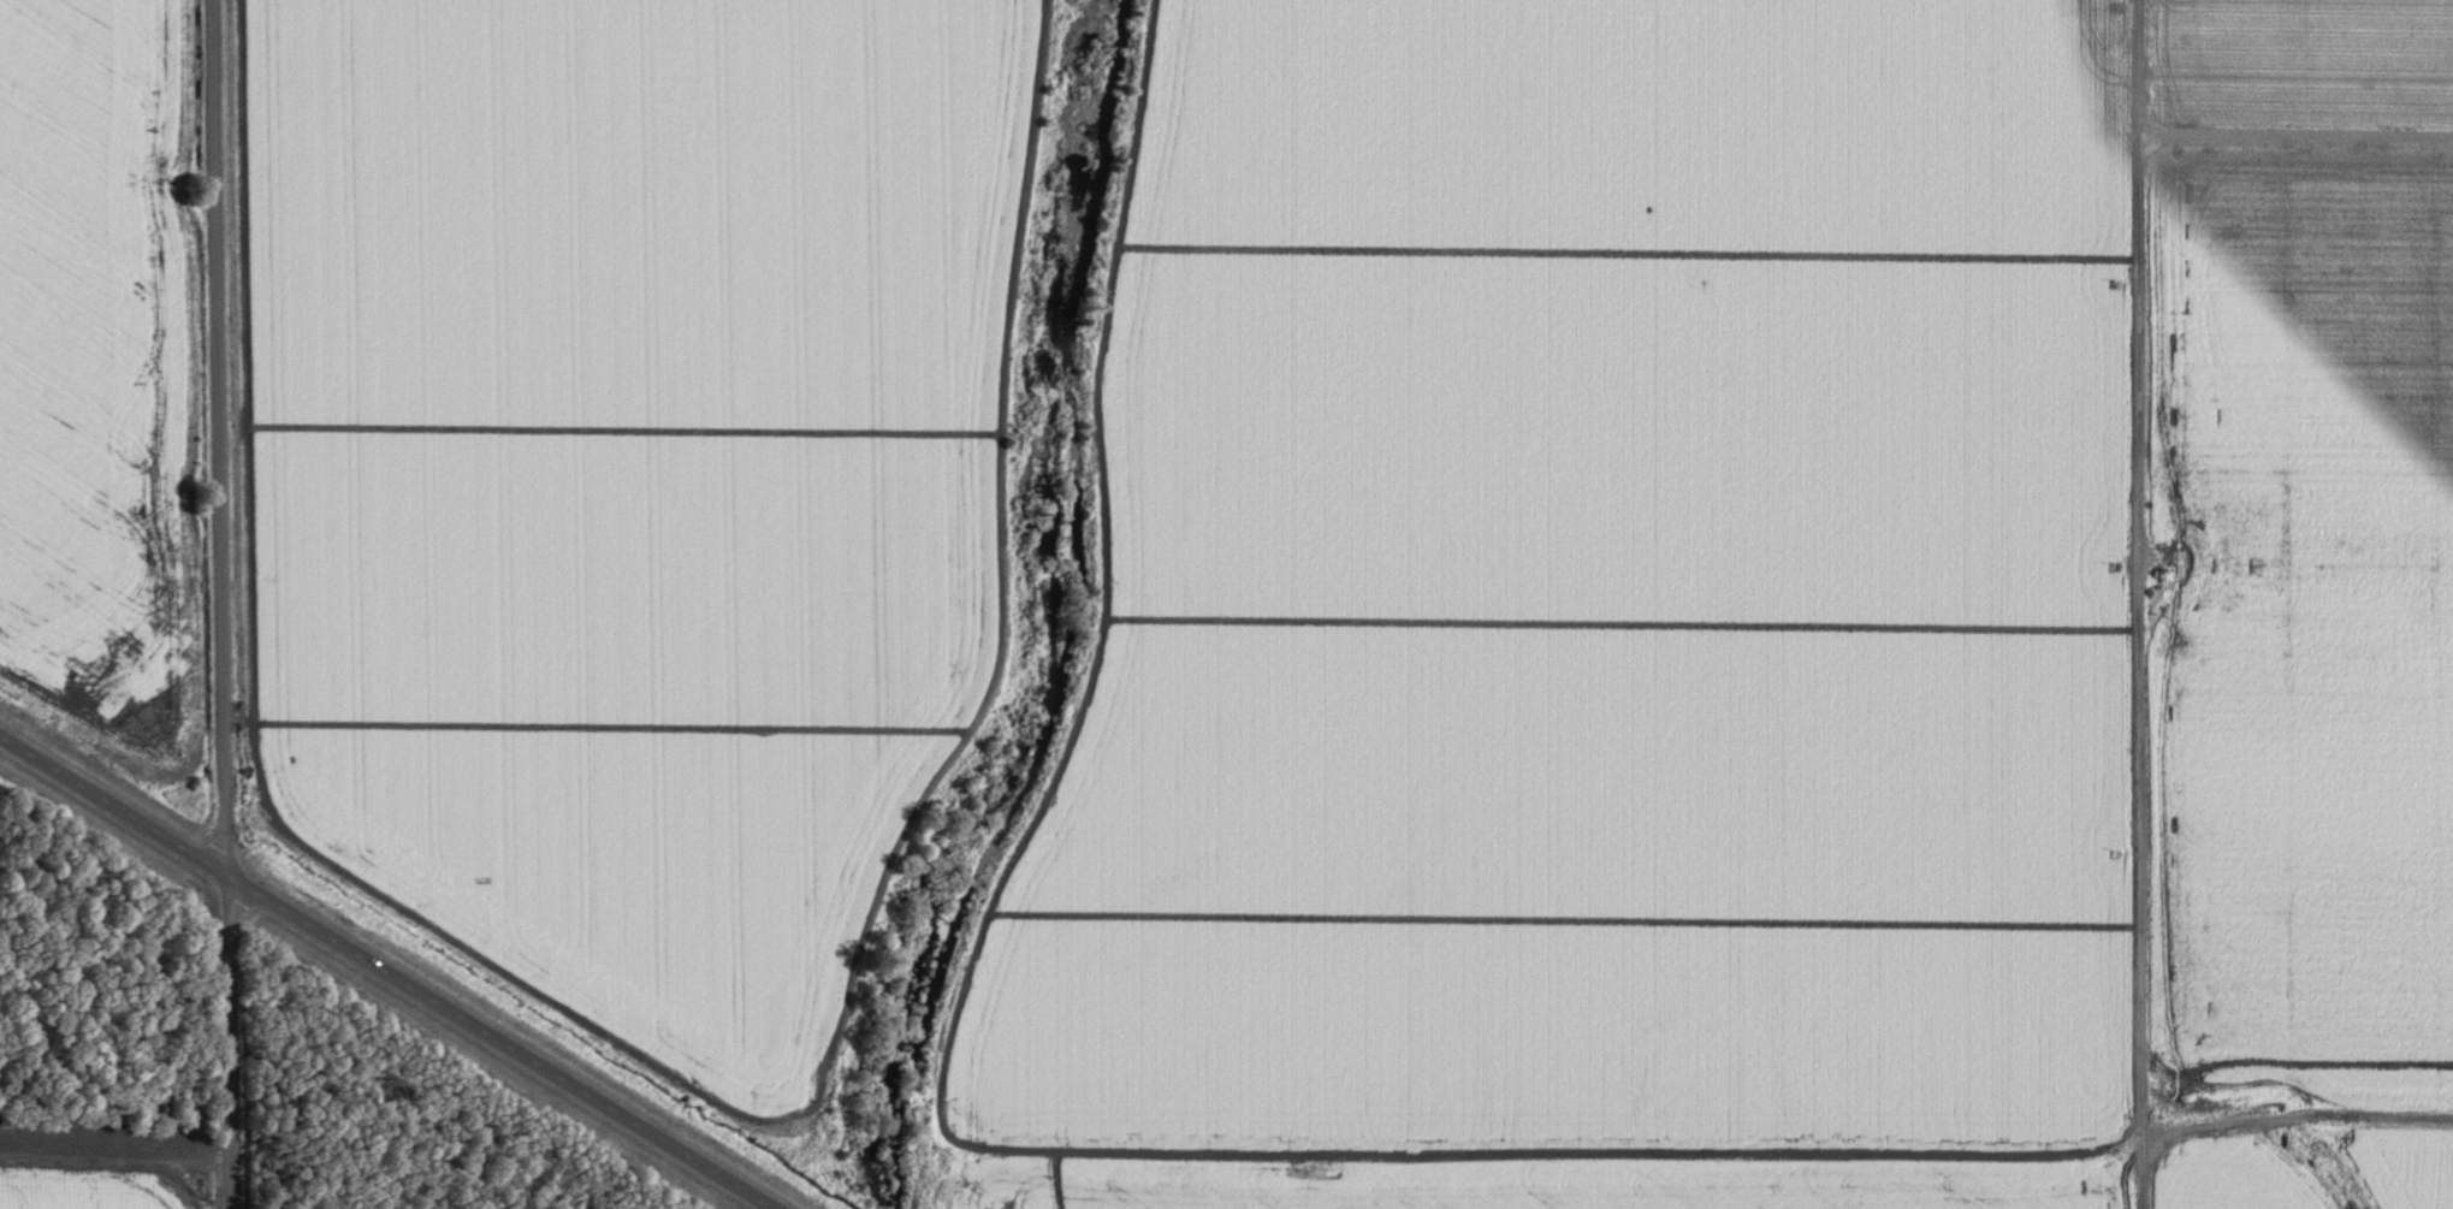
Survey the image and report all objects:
road: (208, 604)
road: (383, 974)

